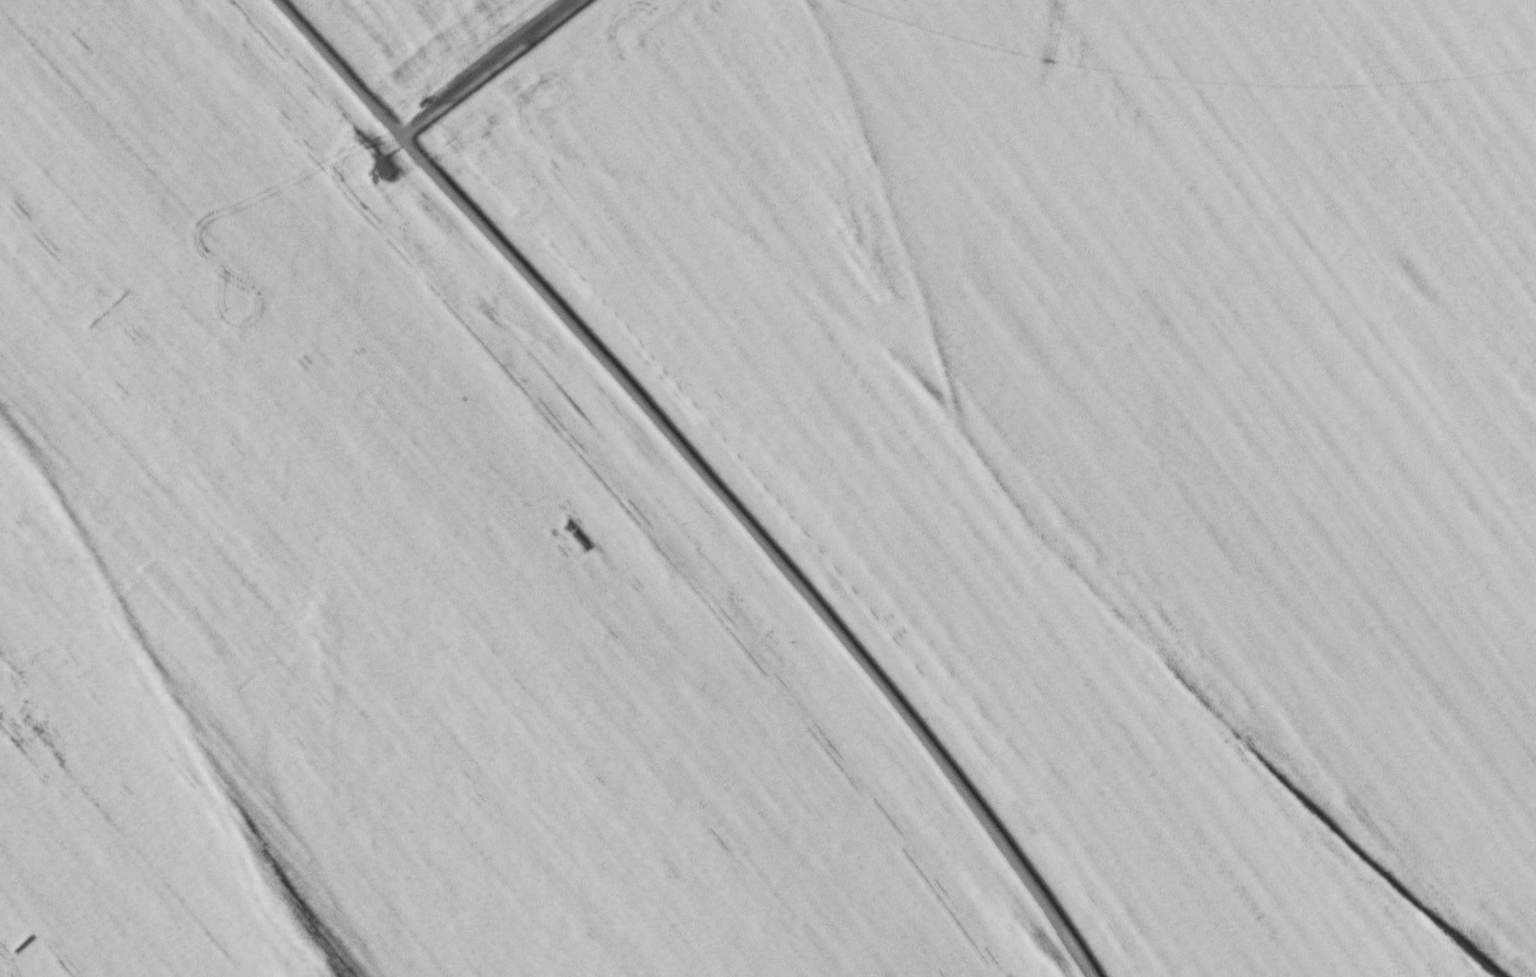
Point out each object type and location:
road: (709, 474)

